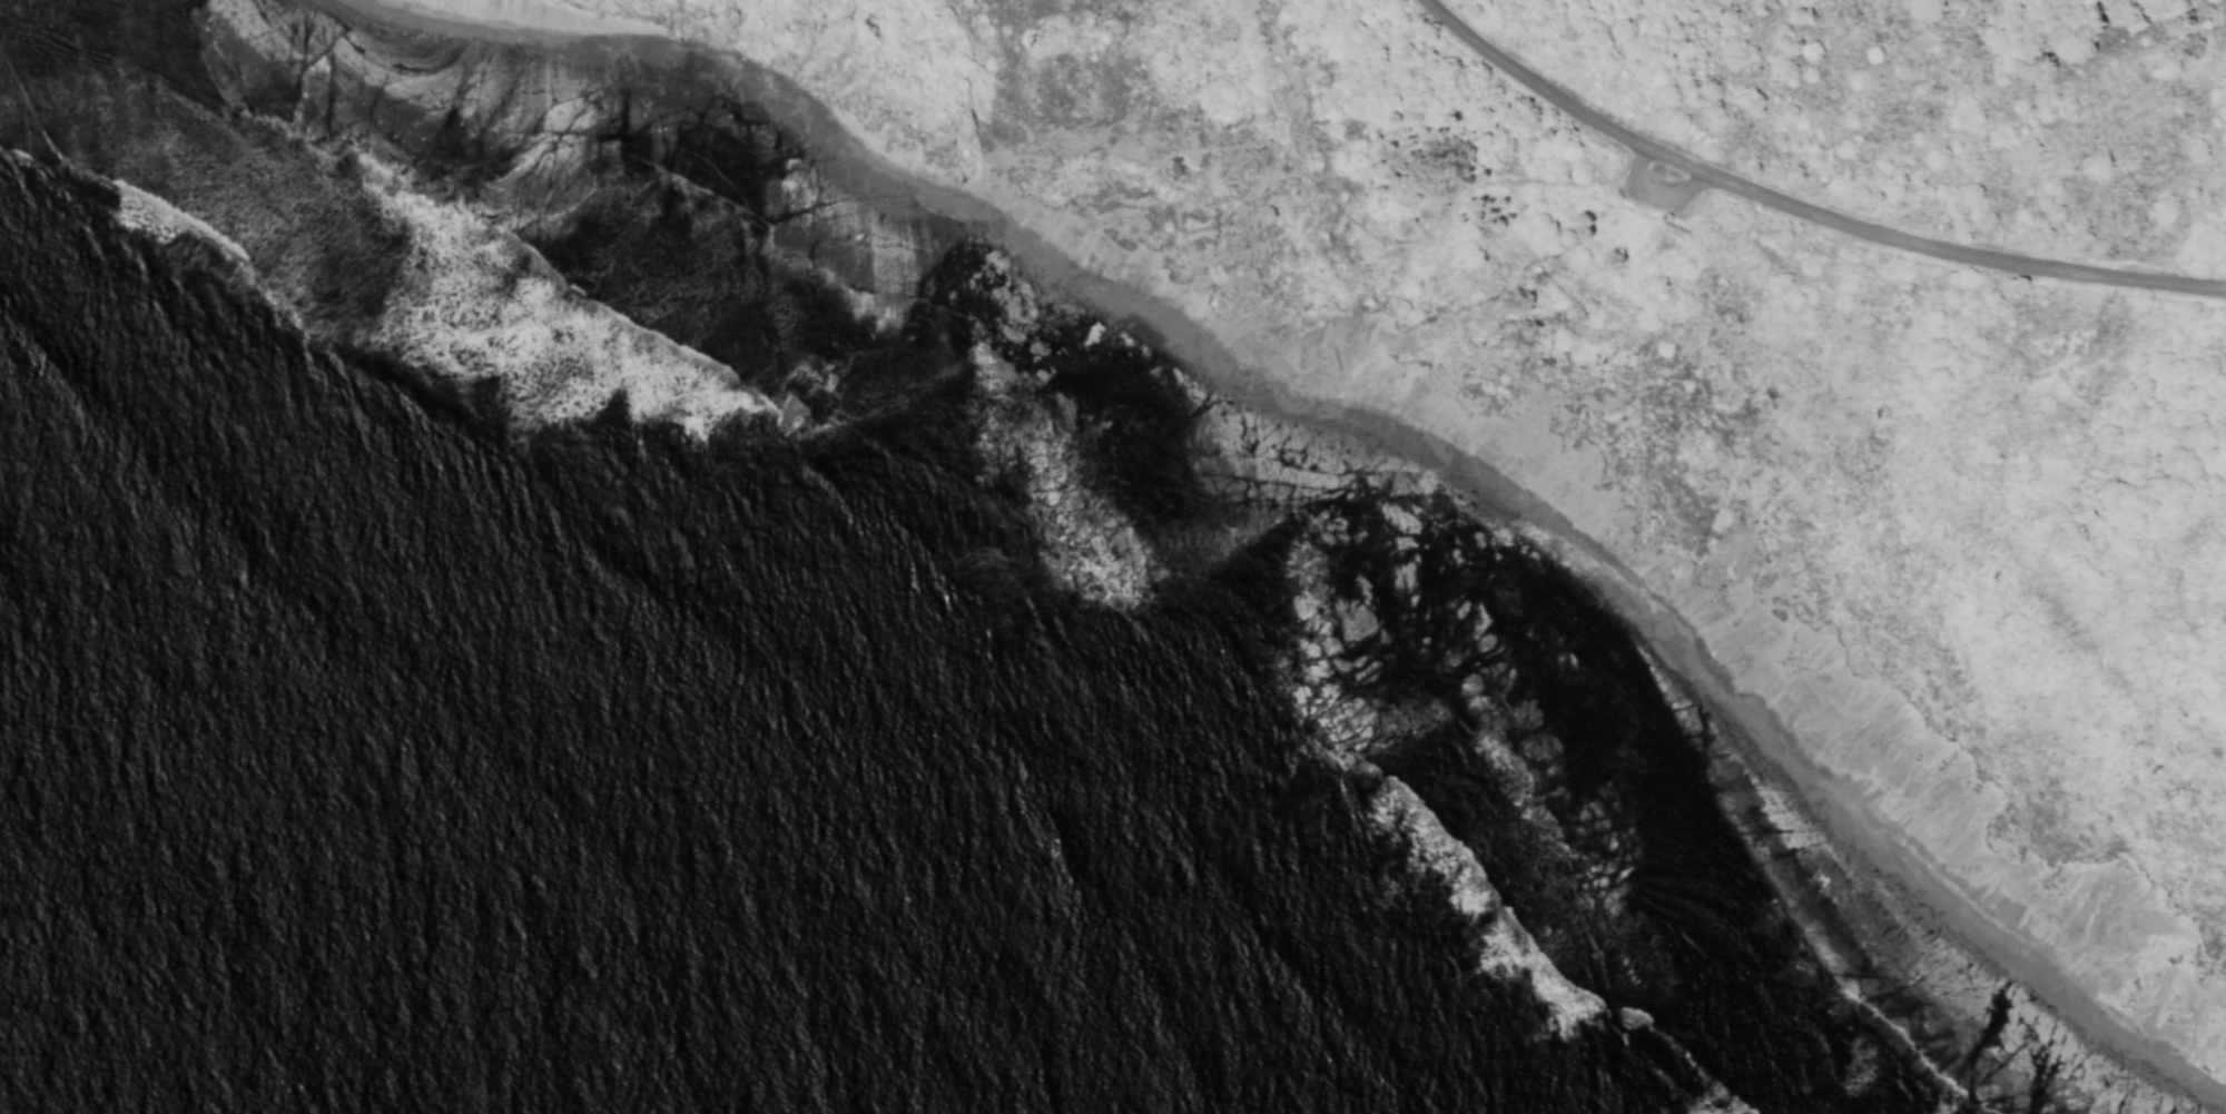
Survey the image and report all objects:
road: (994, 90)
road: (1659, 194)
road: (1804, 208)

